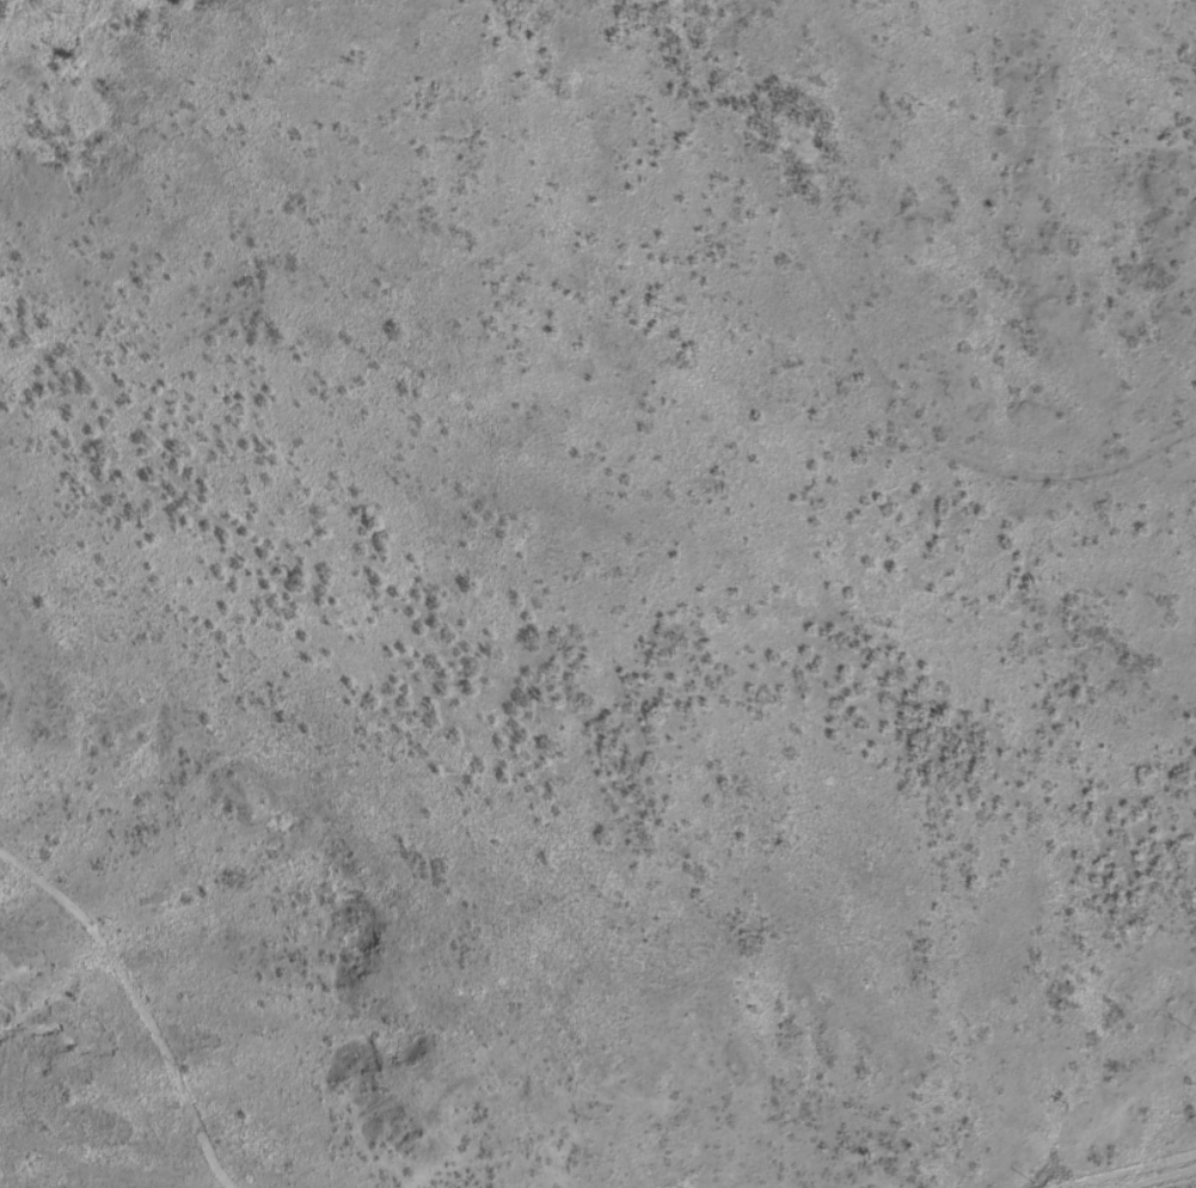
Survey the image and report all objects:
road: (873, 366)

